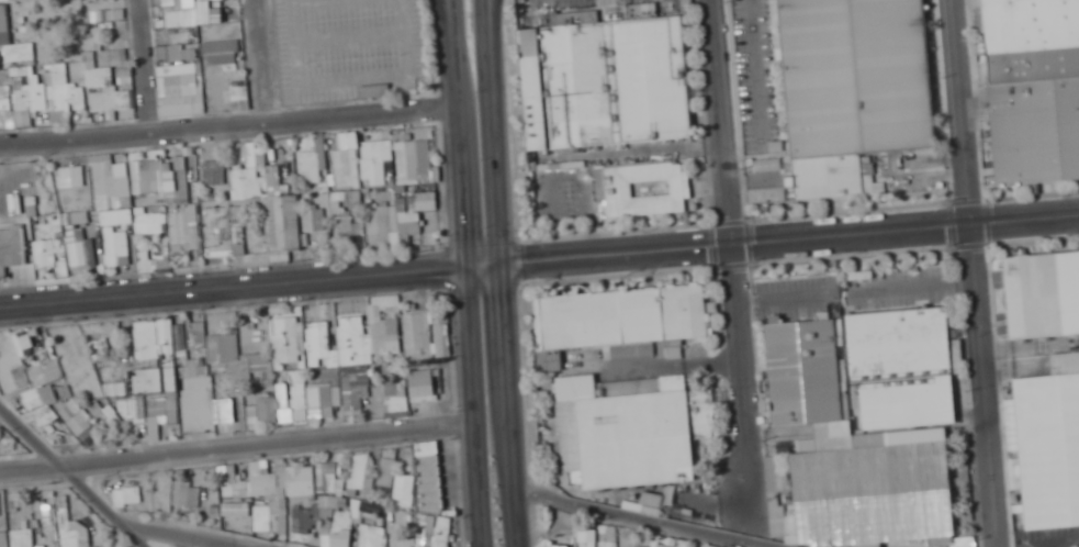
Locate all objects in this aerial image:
road: (493, 8)
building: (210, 11)
road: (449, 11)
road: (451, 11)
building: (342, 26)
building: (221, 47)
building: (19, 53)
building: (177, 53)
road: (261, 60)
building: (102, 64)
road: (145, 67)
building: (855, 76)
building: (180, 80)
building: (1029, 83)
road: (458, 87)
building: (239, 90)
building: (110, 100)
building: (620, 100)
building: (7, 107)
road: (229, 125)
road: (497, 130)
building: (376, 159)
building: (347, 160)
building: (111, 170)
building: (310, 170)
building: (214, 172)
building: (147, 177)
building: (274, 179)
building: (245, 187)
road: (464, 206)
building: (430, 215)
building: (346, 219)
building: (315, 220)
building: (286, 222)
building: (143, 223)
building: (381, 225)
building: (180, 228)
road: (852, 230)
building: (117, 248)
building: (11, 249)
road: (564, 254)
road: (734, 257)
road: (485, 260)
road: (413, 267)
road: (978, 272)
road: (179, 289)
building: (1042, 293)
building: (352, 333)
building: (288, 339)
building: (319, 345)
building: (218, 348)
building: (260, 358)
building: (150, 361)
road: (512, 377)
building: (40, 382)
building: (347, 393)
building: (396, 403)
road: (475, 404)
building: (133, 408)
building: (221, 413)
building: (263, 413)
building: (76, 415)
road: (238, 443)
building: (1044, 458)
building: (813, 460)
building: (387, 472)
road: (72, 476)
building: (303, 483)
building: (235, 488)
building: (424, 490)
building: (187, 494)
building: (928, 500)
road: (520, 521)
road: (641, 521)
building: (863, 531)
road: (170, 535)
building: (587, 535)
building: (337, 539)
road: (196, 544)

